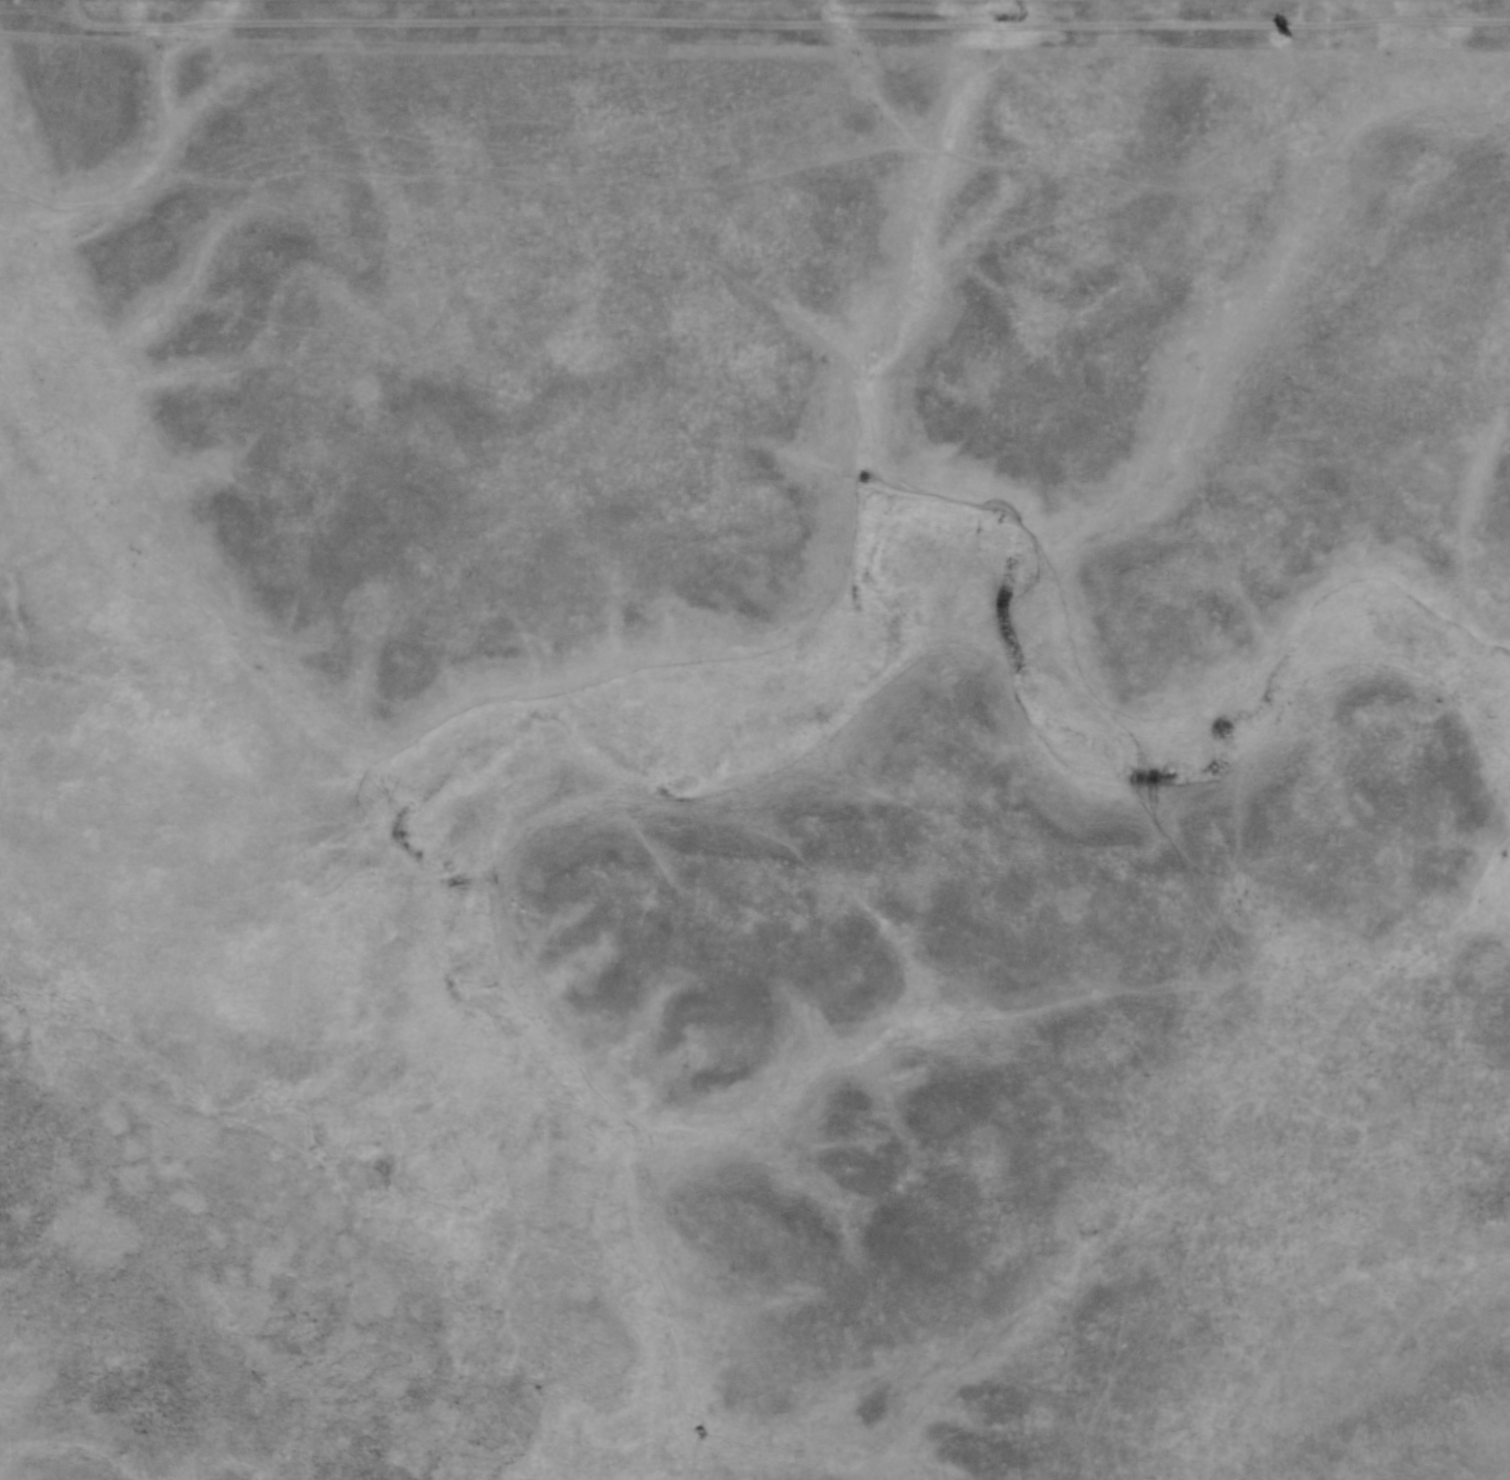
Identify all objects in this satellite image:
road: (78, 17)
road: (799, 25)

